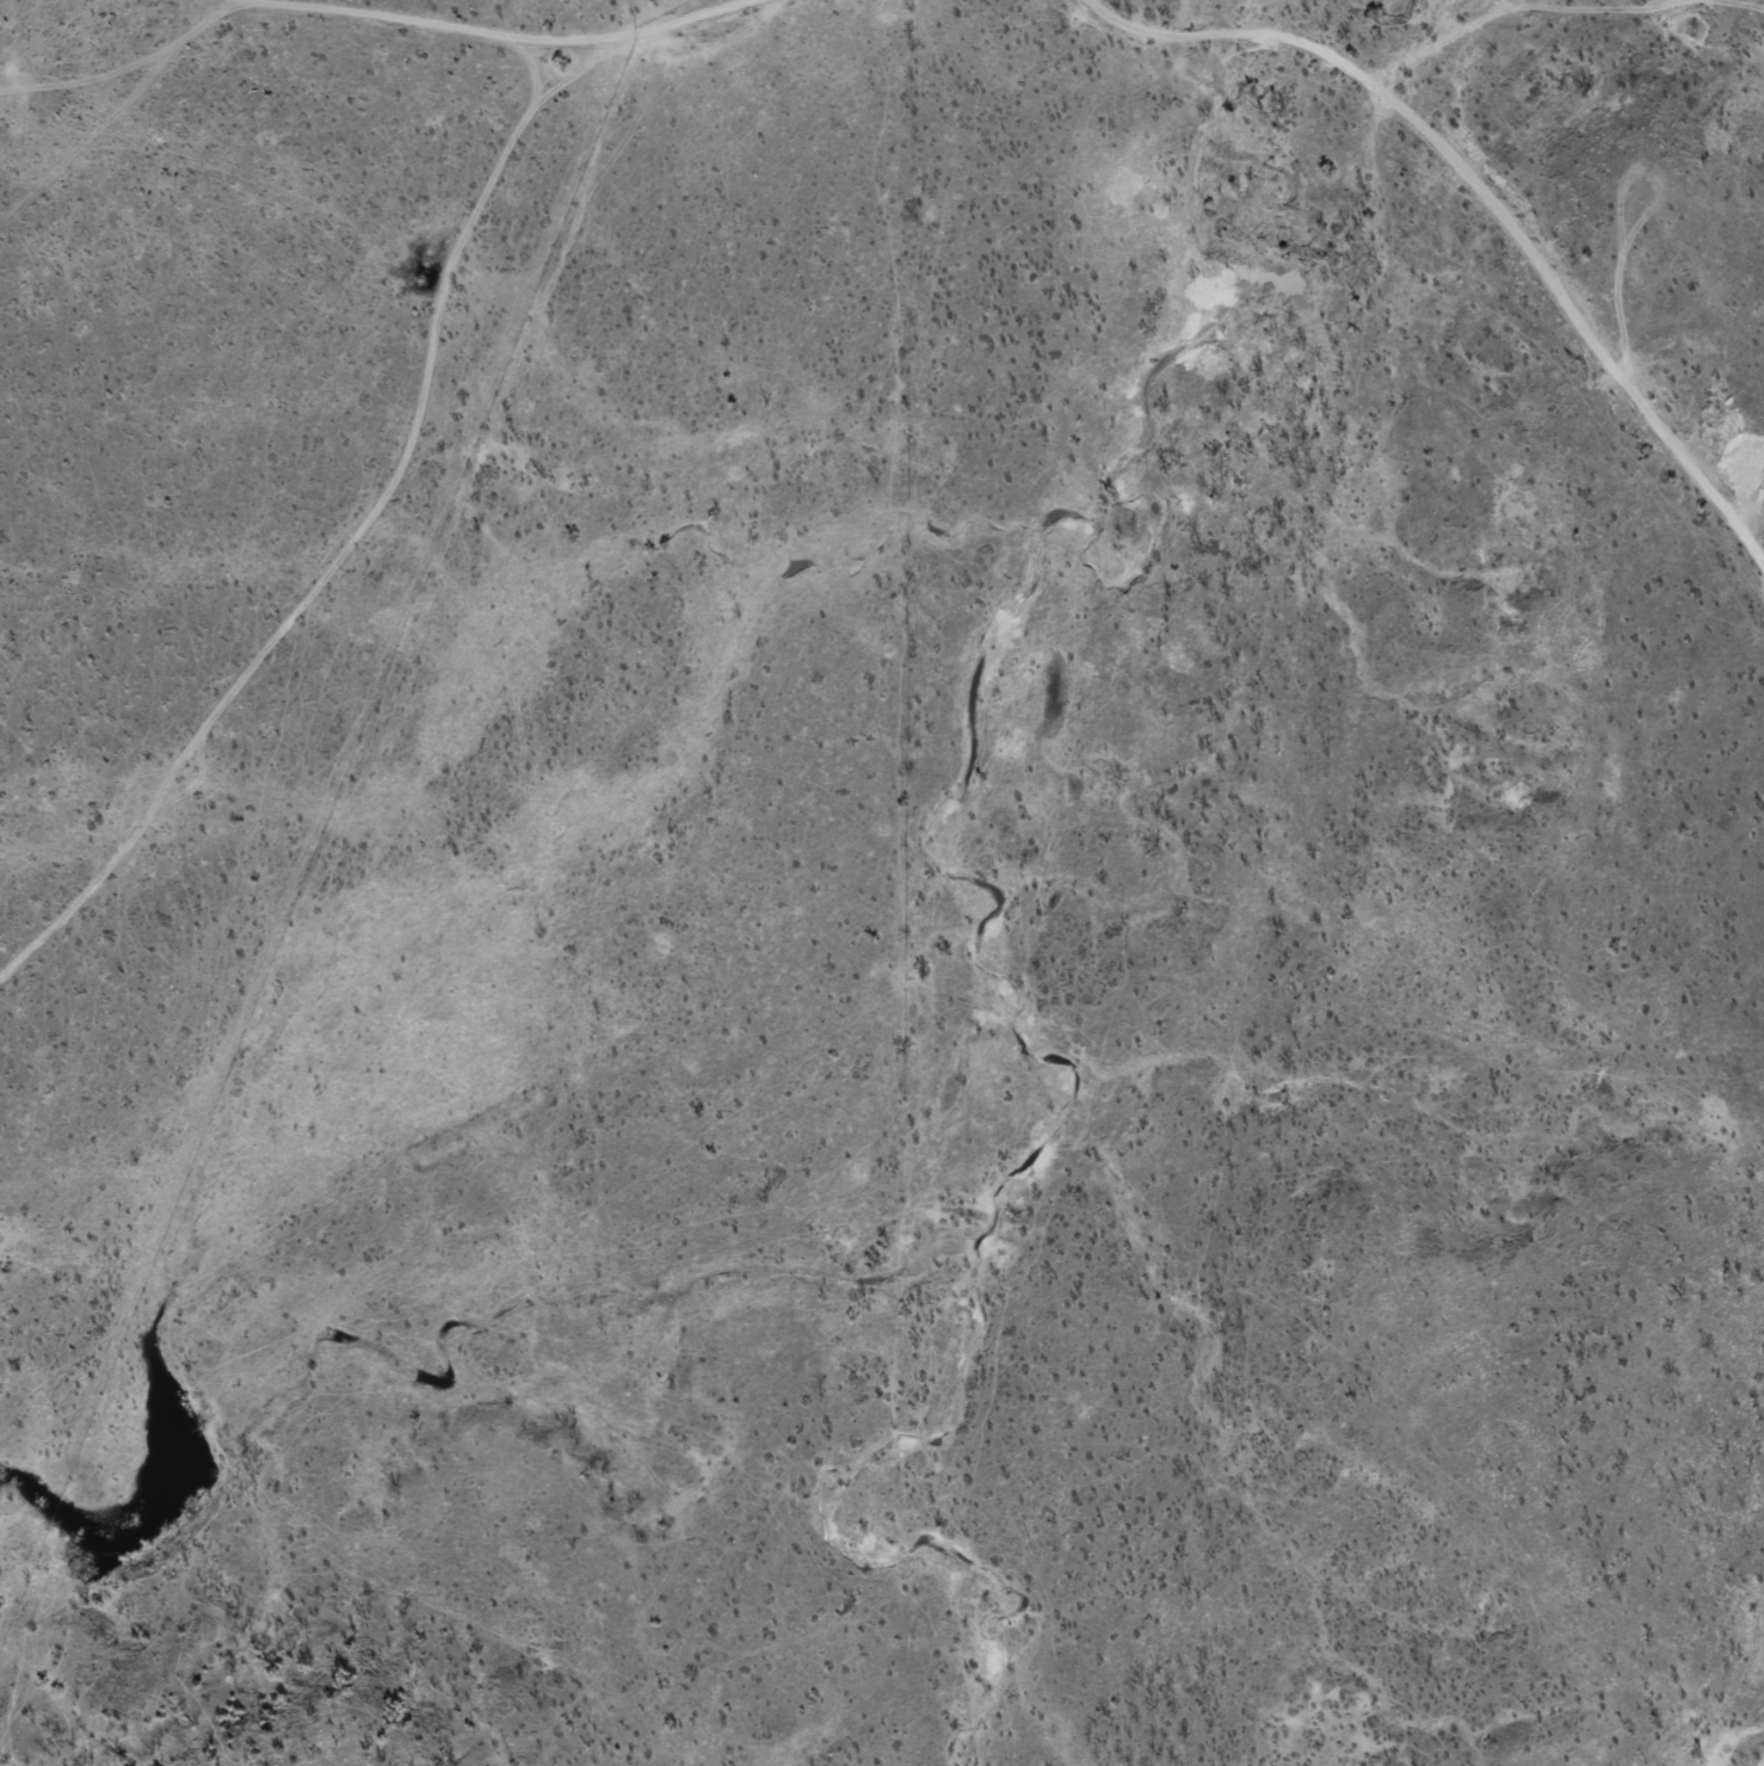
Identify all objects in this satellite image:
road: (450, 21)
road: (1472, 239)
road: (383, 456)
road: (593, 652)

